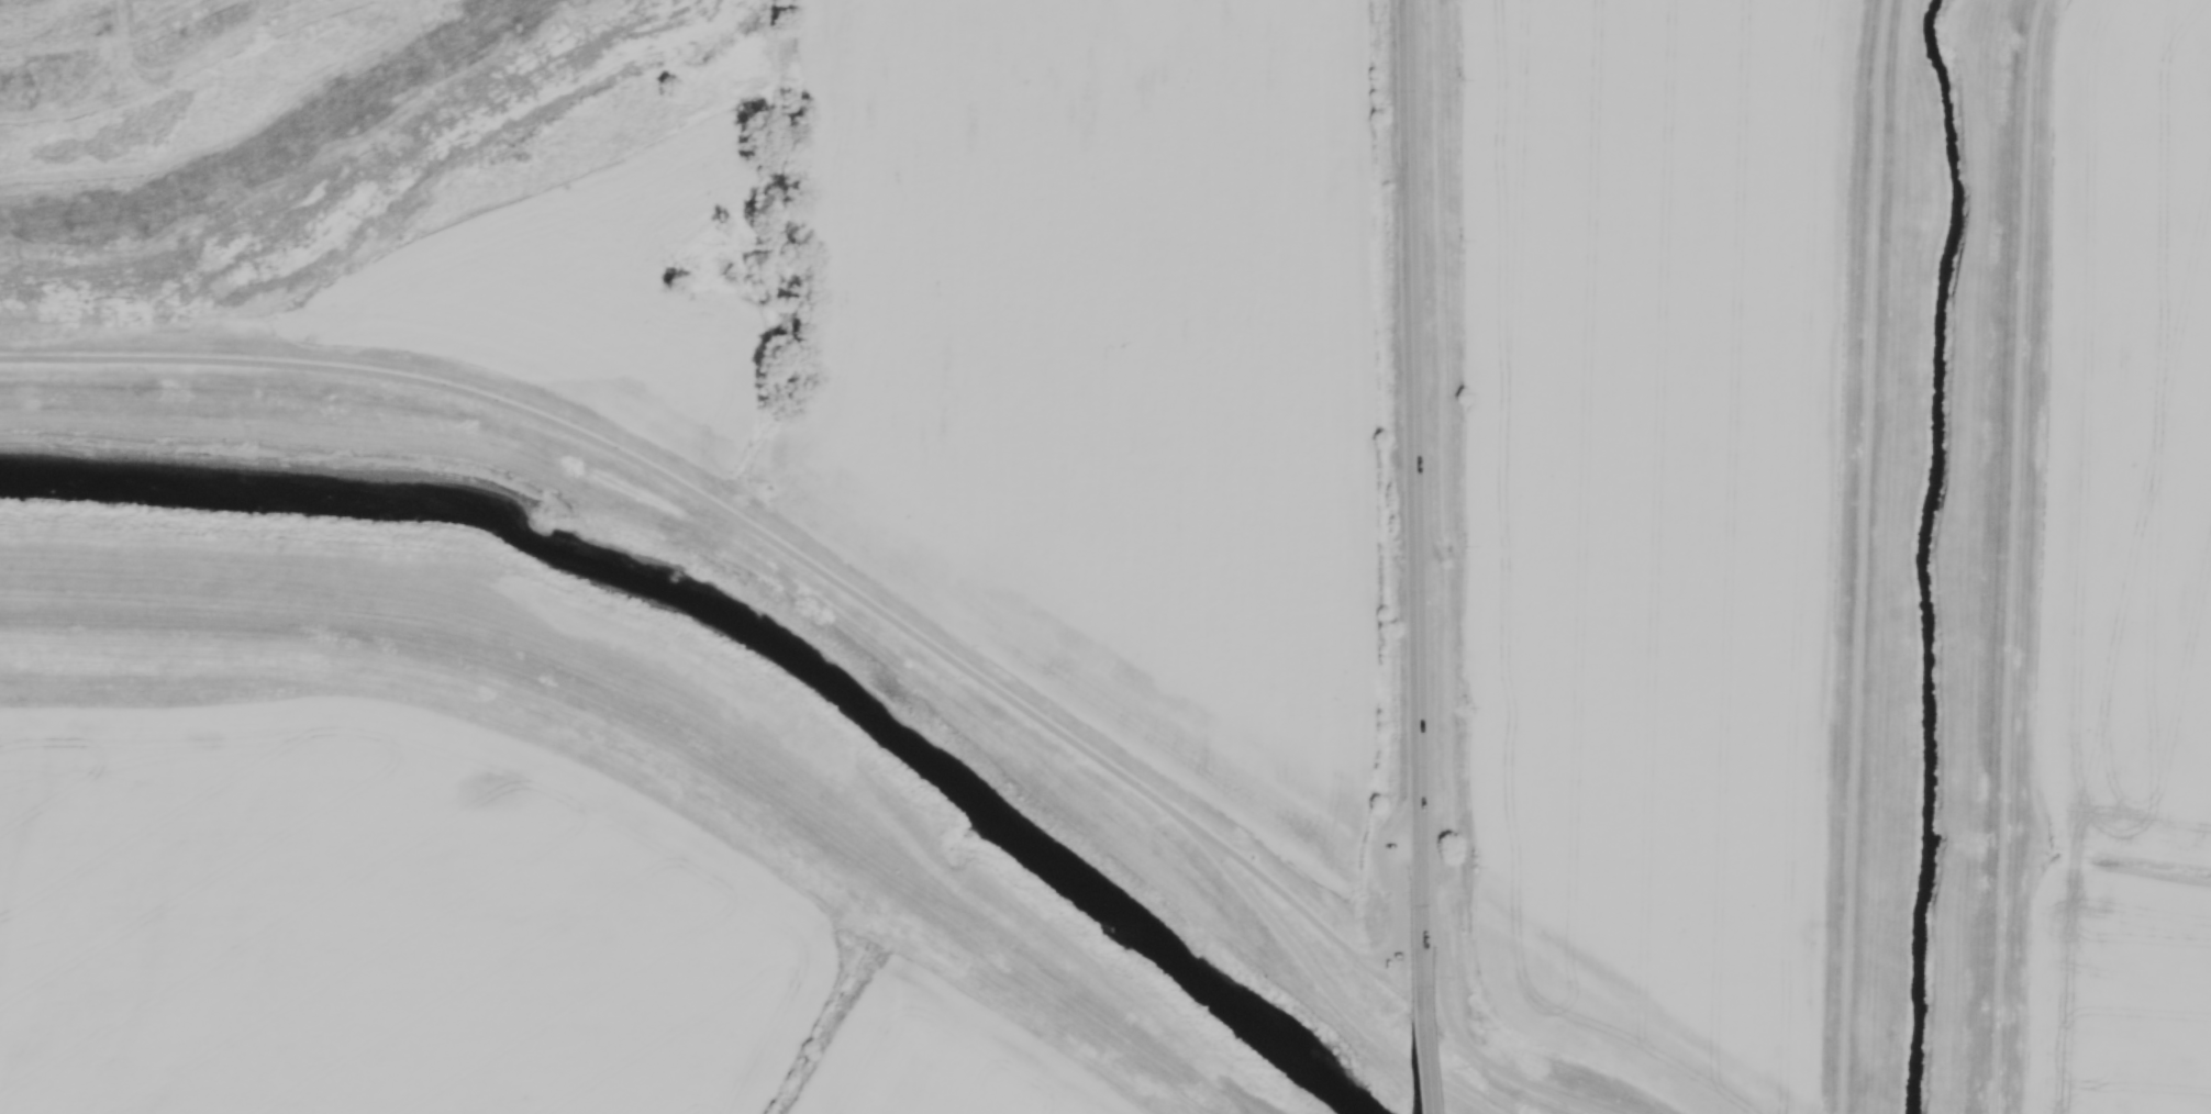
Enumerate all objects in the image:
road: (638, 465)
road: (1412, 504)
crop: (1655, 522)
road: (1862, 556)
road: (2011, 556)
crop: (2126, 577)
river: (753, 626)
road: (466, 678)
road: (1395, 898)
road: (1297, 907)
road: (1323, 988)
road: (1037, 1006)
road: (1465, 1046)
road: (1420, 1062)

